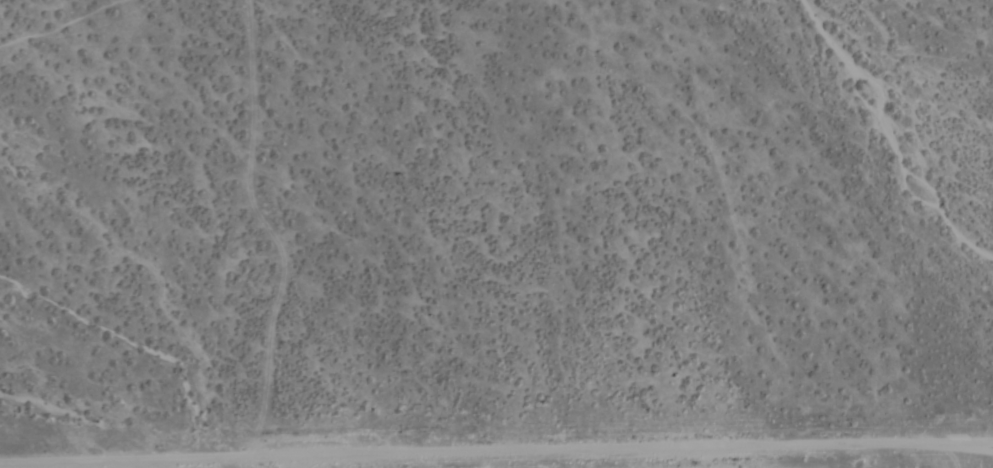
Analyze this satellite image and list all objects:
road: (496, 452)

